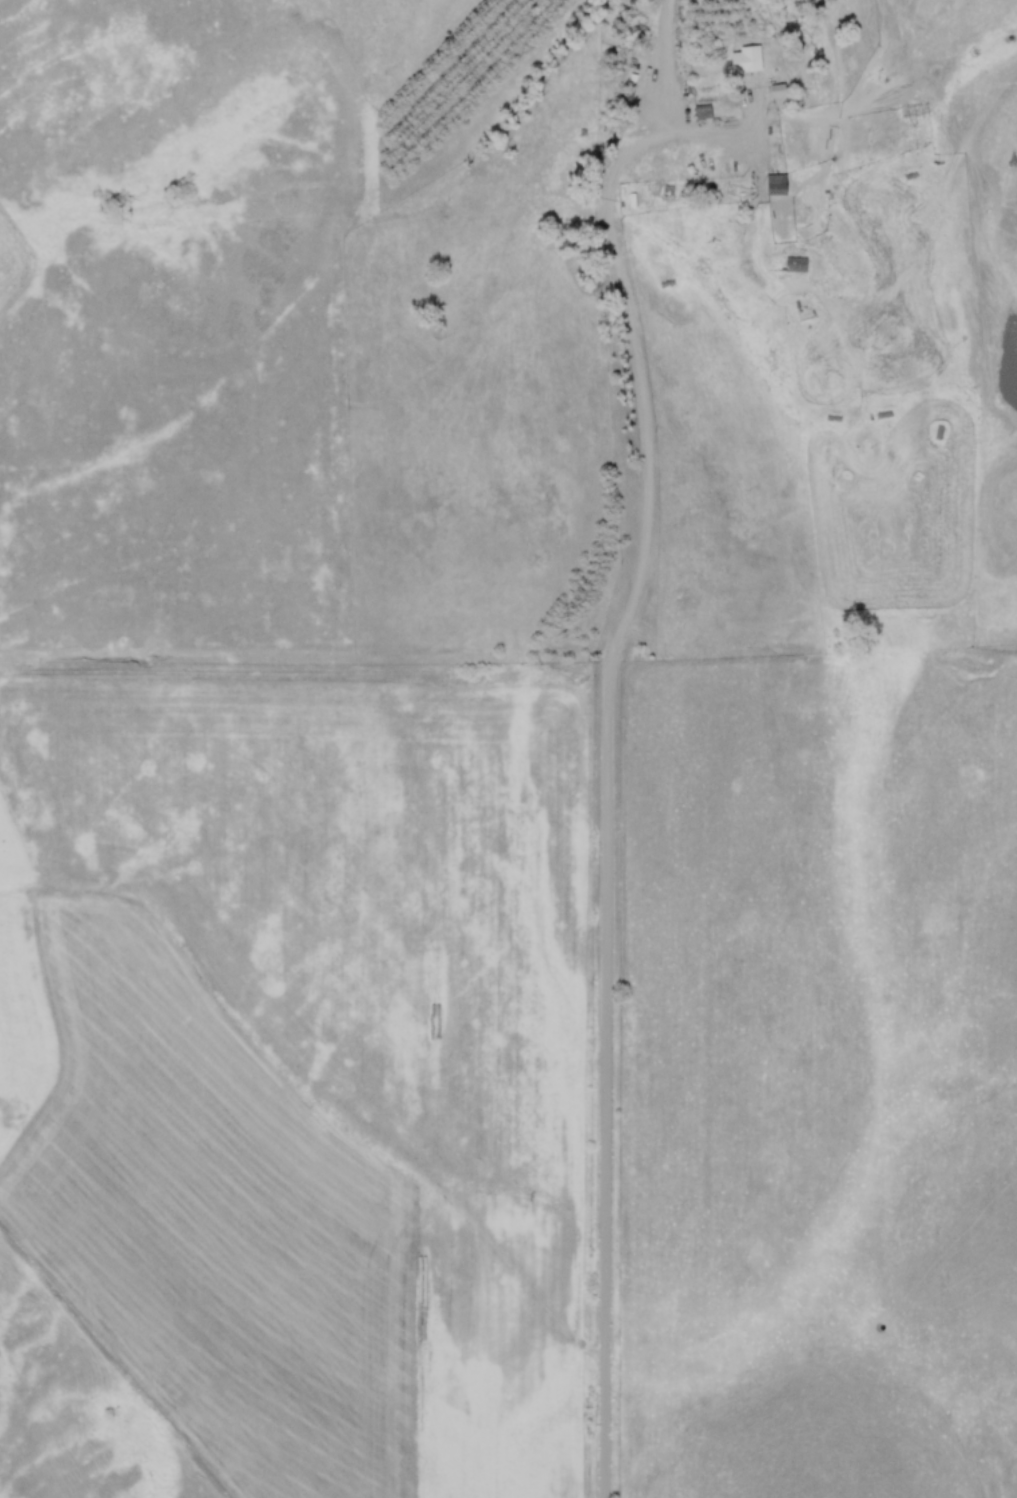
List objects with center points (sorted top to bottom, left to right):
building: (745, 63)
building: (705, 115)
road: (743, 139)
building: (777, 188)
building: (795, 267)
road: (630, 310)
road: (606, 1071)

